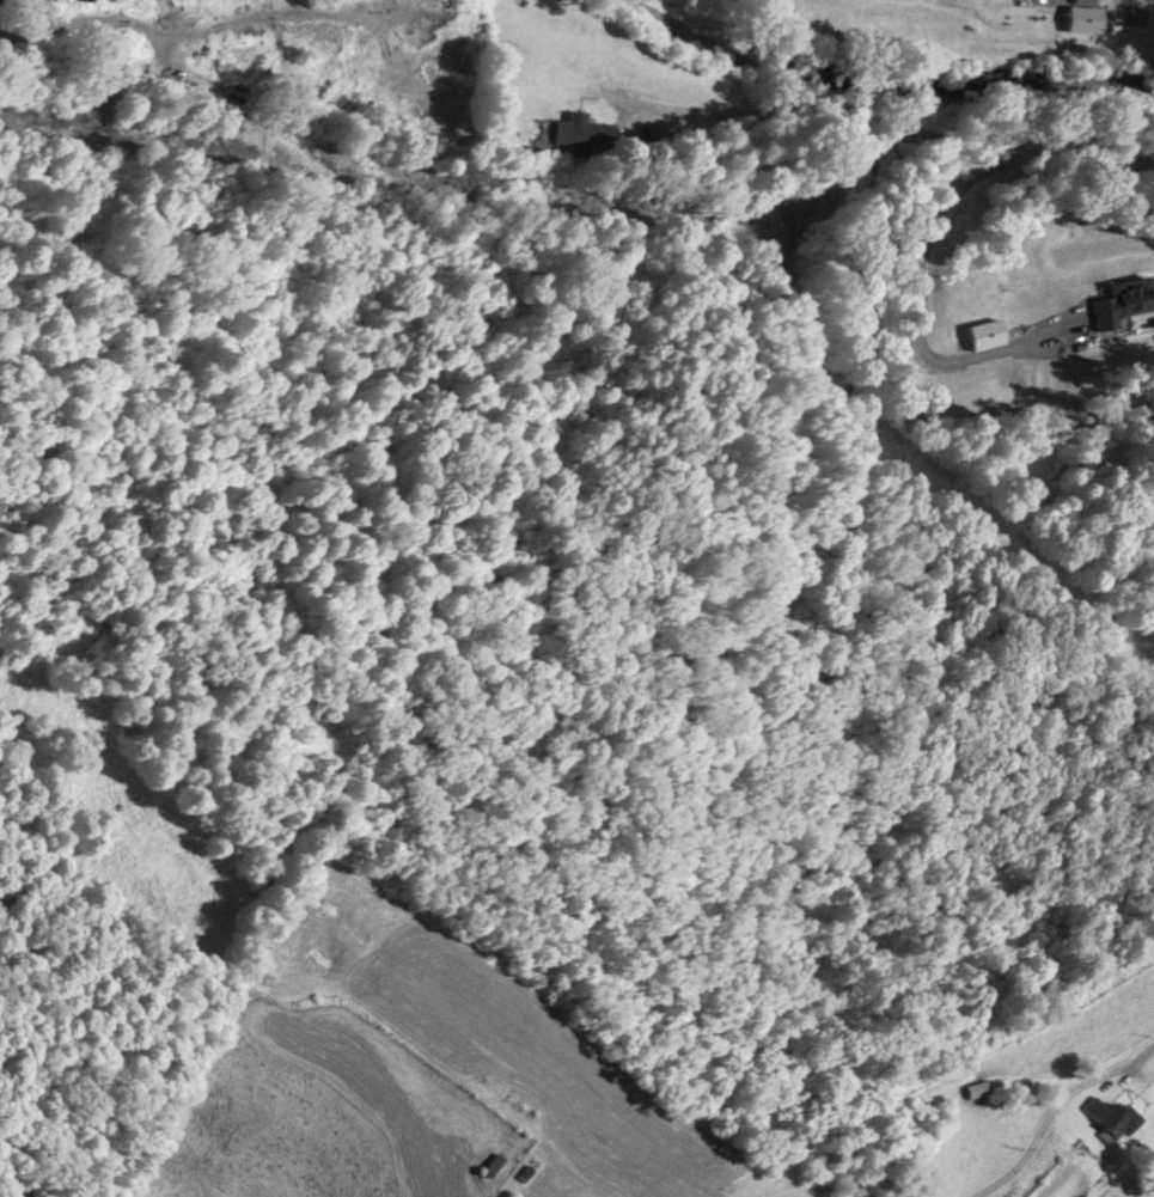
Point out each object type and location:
road: (893, 124)
building: (582, 130)
road: (915, 301)
road: (1052, 1110)
building: (1109, 1117)

